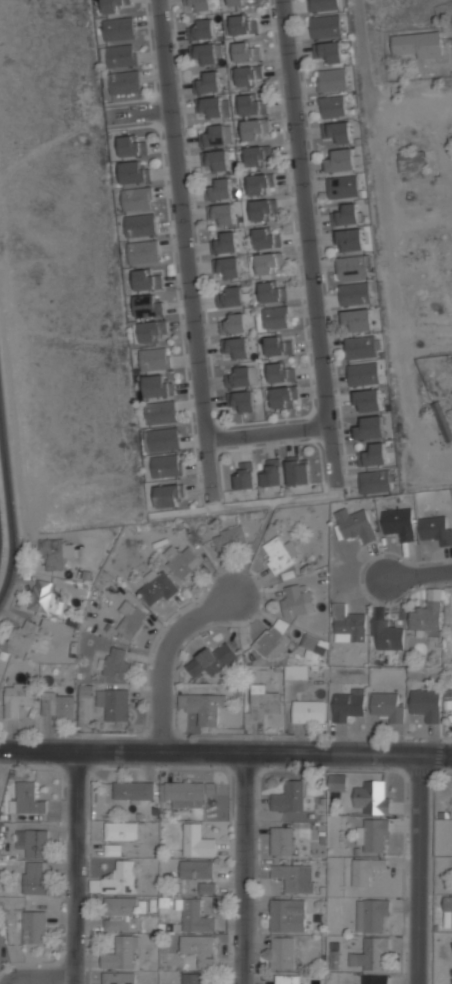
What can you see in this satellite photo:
building: (237, 2)
building: (199, 4)
building: (116, 5)
building: (322, 5)
building: (243, 23)
building: (325, 26)
building: (119, 27)
building: (201, 29)
building: (417, 44)
building: (245, 50)
building: (329, 51)
building: (208, 52)
building: (120, 54)
building: (249, 74)
building: (331, 80)
building: (124, 81)
building: (208, 81)
building: (252, 105)
building: (211, 107)
building: (333, 107)
building: (255, 129)
building: (338, 131)
building: (213, 136)
building: (131, 145)
building: (256, 155)
building: (341, 160)
building: (412, 160)
building: (218, 161)
building: (134, 171)
building: (261, 183)
building: (343, 186)
building: (222, 188)
building: (137, 198)
building: (263, 208)
building: (222, 214)
building: (346, 214)
building: (140, 224)
road: (385, 225)
road: (306, 233)
building: (266, 237)
road: (184, 238)
building: (350, 239)
building: (225, 241)
building: (142, 252)
building: (269, 263)
building: (228, 266)
building: (351, 266)
building: (145, 280)
building: (272, 291)
building: (354, 292)
building: (231, 296)
building: (147, 306)
building: (275, 316)
building: (358, 318)
building: (232, 323)
building: (152, 331)
building: (278, 344)
building: (361, 346)
building: (237, 347)
building: (154, 358)
building: (279, 372)
building: (363, 374)
building: (238, 376)
building: (157, 384)
building: (282, 396)
building: (244, 400)
building: (367, 400)
building: (160, 411)
building: (442, 419)
building: (369, 427)
road: (267, 433)
building: (163, 438)
building: (373, 454)
building: (165, 465)
building: (298, 471)
building: (272, 473)
building: (244, 475)
building: (375, 480)
building: (169, 494)
building: (399, 523)
building: (355, 524)
road: (9, 525)
building: (437, 529)
building: (228, 536)
building: (53, 553)
building: (276, 553)
building: (180, 559)
road: (418, 573)
building: (157, 585)
building: (44, 594)
building: (294, 599)
building: (427, 616)
building: (130, 619)
building: (349, 624)
building: (24, 634)
building: (387, 634)
building: (272, 638)
building: (314, 643)
road: (162, 651)
building: (212, 660)
building: (116, 662)
building: (295, 671)
building: (17, 698)
building: (261, 701)
building: (114, 702)
building: (448, 704)
building: (347, 705)
building: (387, 705)
building: (425, 705)
building: (201, 706)
building: (57, 707)
building: (308, 710)
road: (225, 746)
building: (337, 782)
building: (134, 790)
building: (184, 792)
building: (375, 796)
building: (289, 797)
building: (28, 802)
building: (121, 830)
building: (372, 834)
building: (282, 840)
building: (32, 842)
building: (196, 842)
building: (111, 850)
road: (71, 864)
road: (240, 865)
road: (417, 867)
building: (365, 869)
building: (196, 870)
building: (295, 877)
building: (33, 878)
building: (120, 878)
building: (206, 888)
building: (448, 911)
building: (118, 912)
building: (371, 913)
building: (287, 915)
building: (195, 917)
building: (33, 927)
building: (451, 944)
building: (199, 949)
building: (282, 952)
building: (370, 953)
building: (120, 954)
building: (118, 978)
building: (191, 979)
building: (287, 979)
building: (374, 979)

